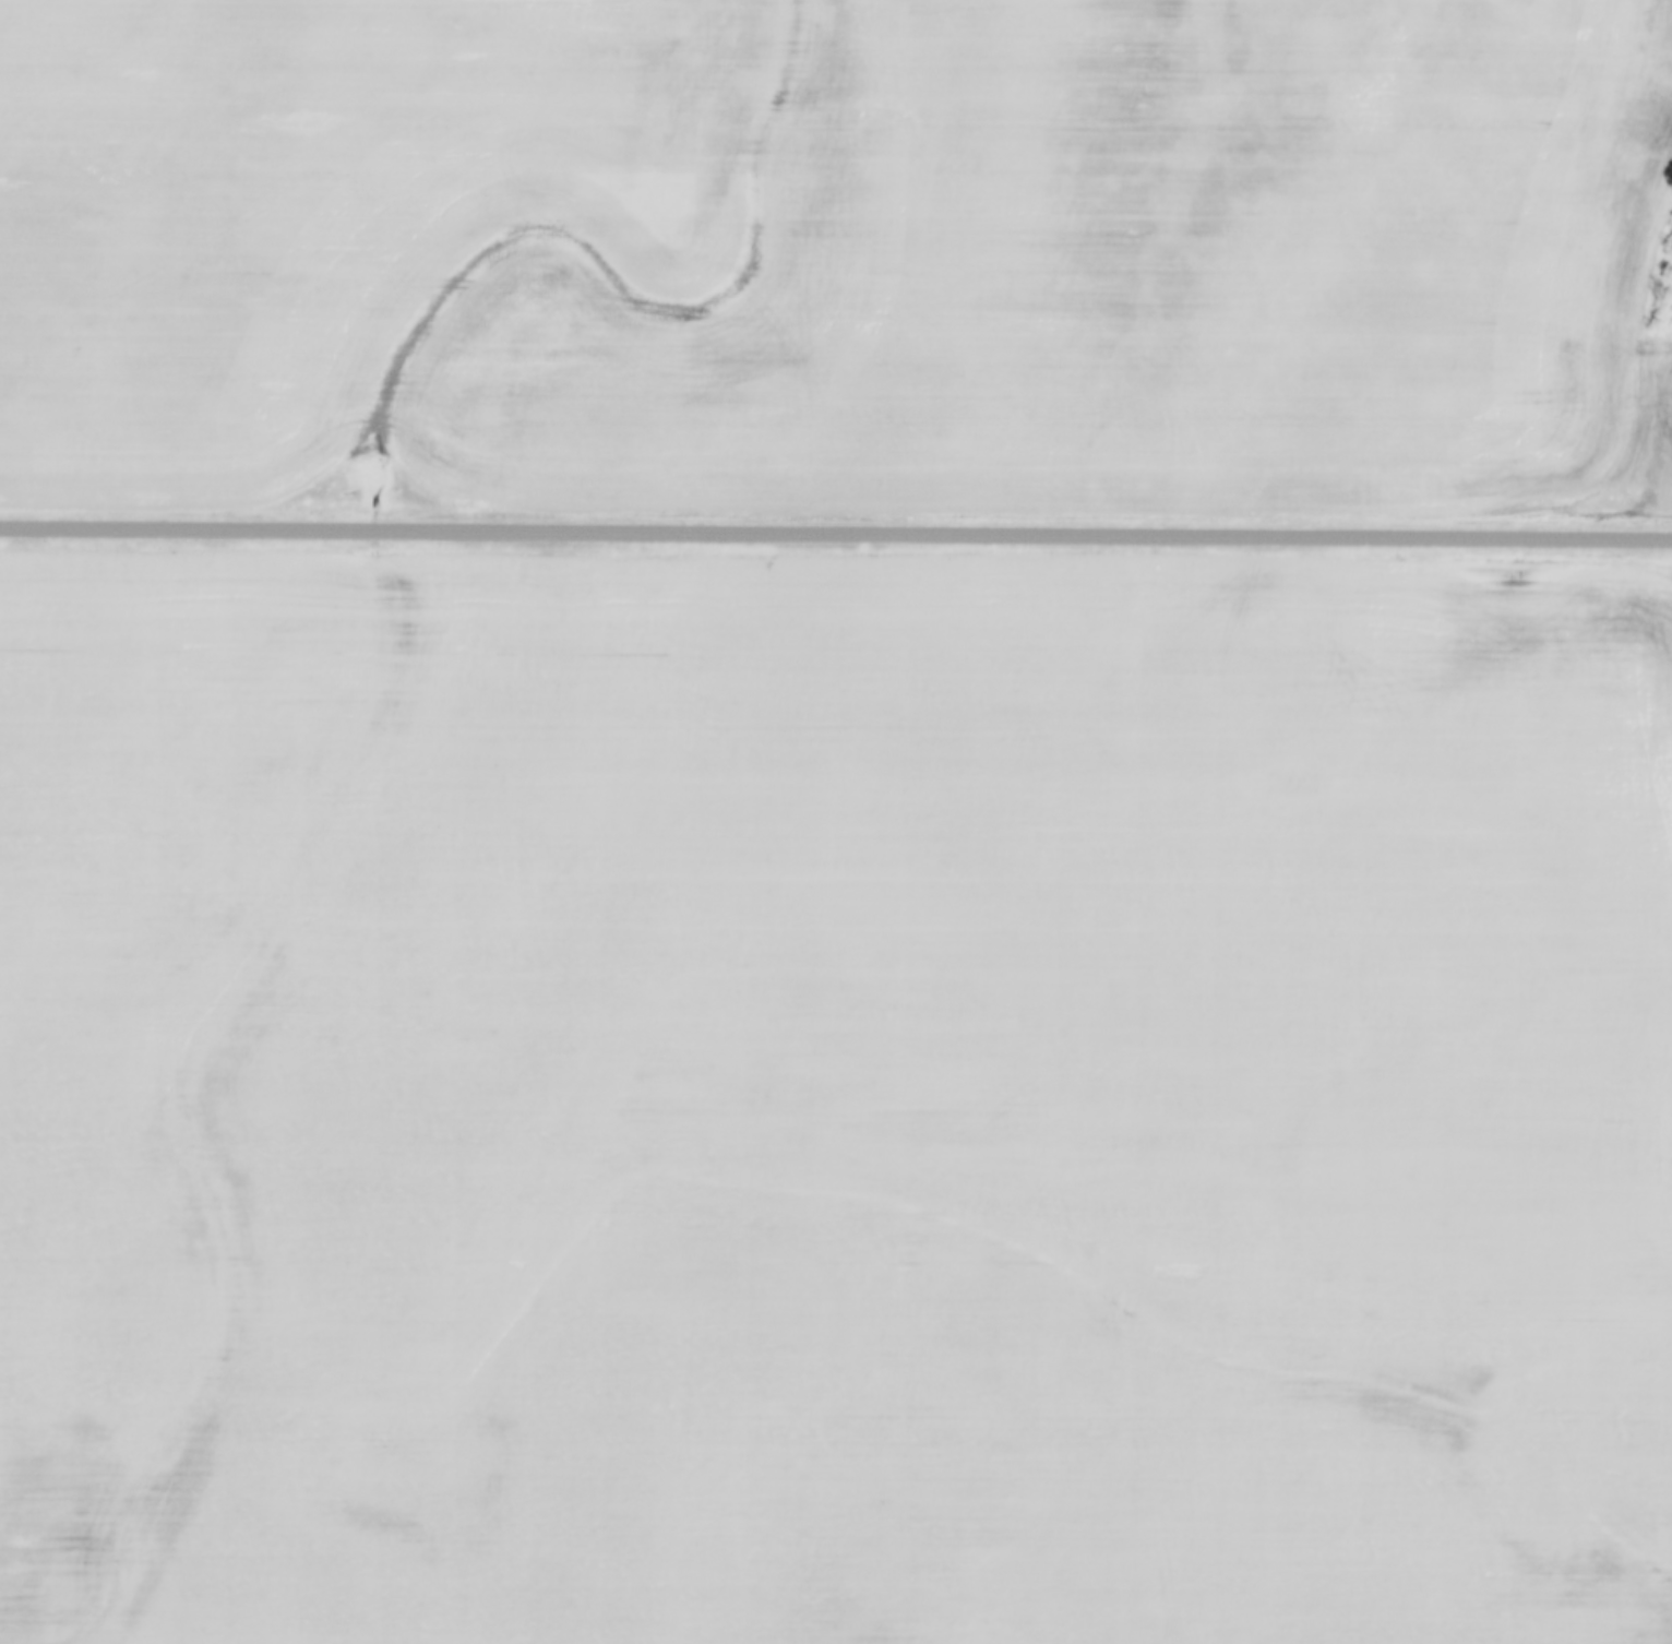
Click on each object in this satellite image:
road: (835, 527)

